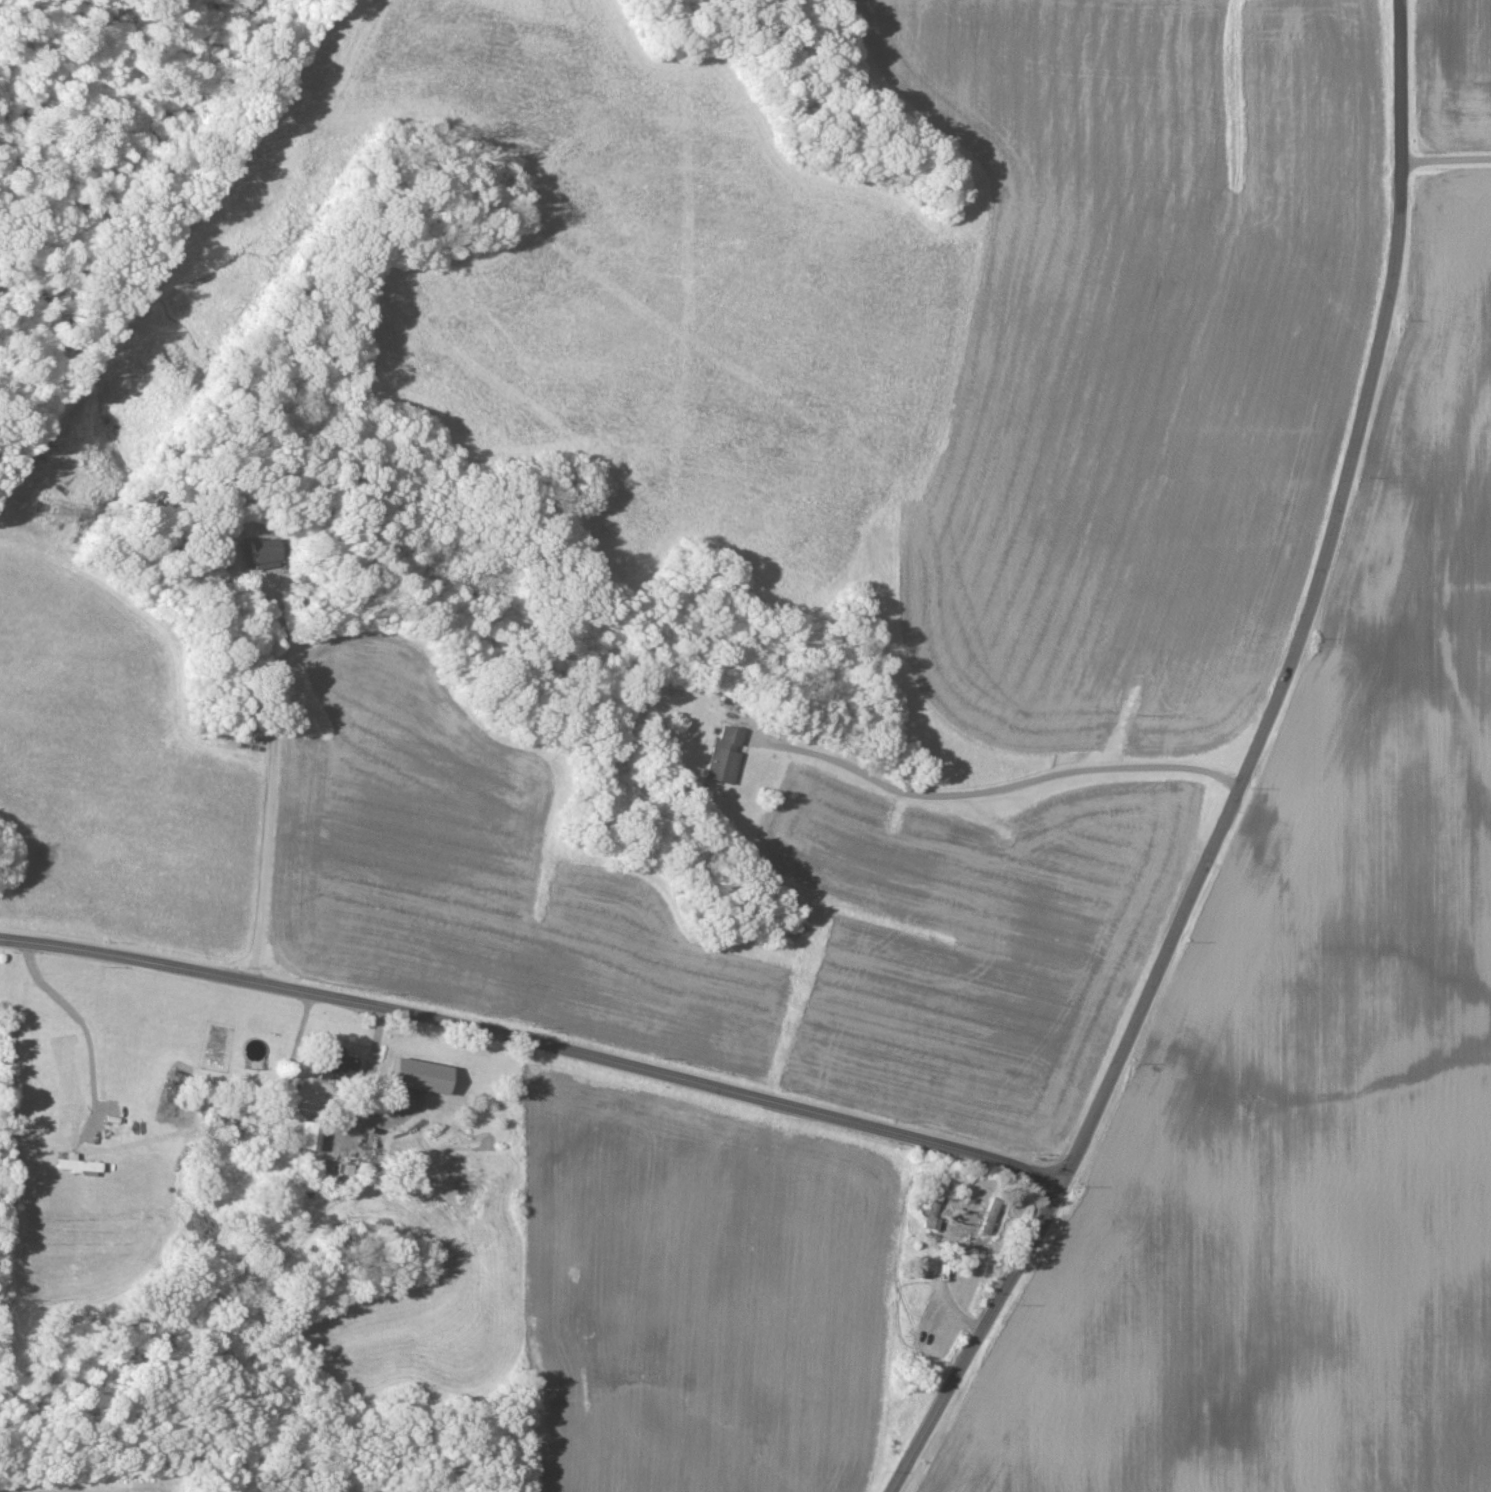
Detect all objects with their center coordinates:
power tower: (36, 517)
building: (262, 556)
road: (1303, 623)
building: (722, 758)
road: (269, 779)
road: (994, 792)
road: (530, 1044)
building: (335, 1061)
building: (419, 1077)
building: (309, 1141)
building: (986, 1219)
road: (972, 1346)

